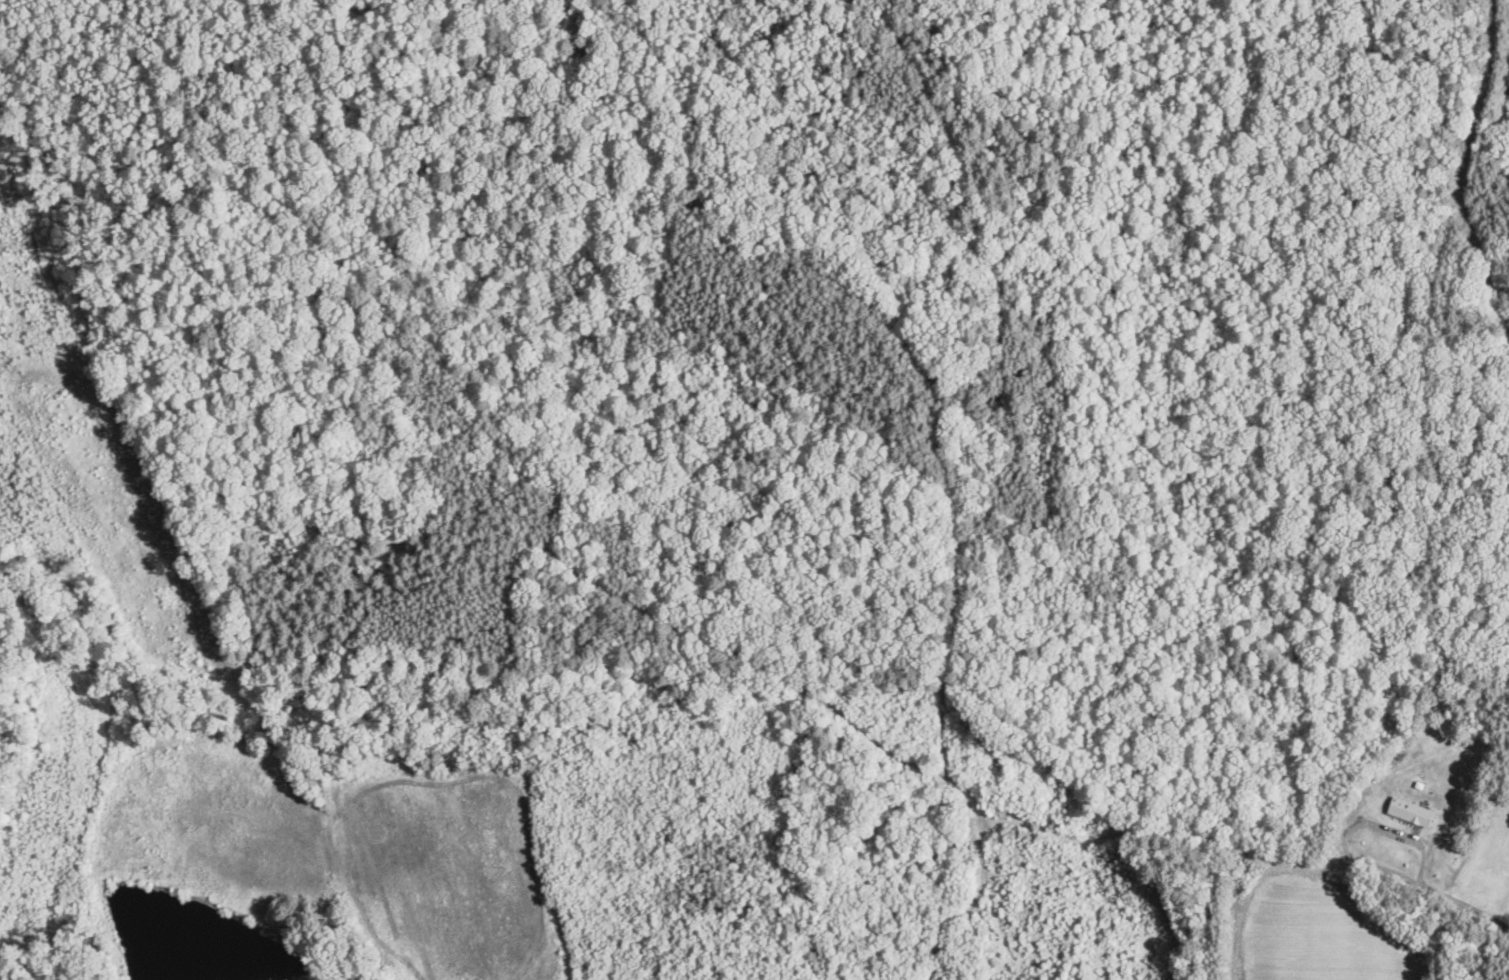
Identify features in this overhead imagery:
road: (1465, 167)
building: (1411, 812)
road: (1357, 827)
road: (1464, 904)

